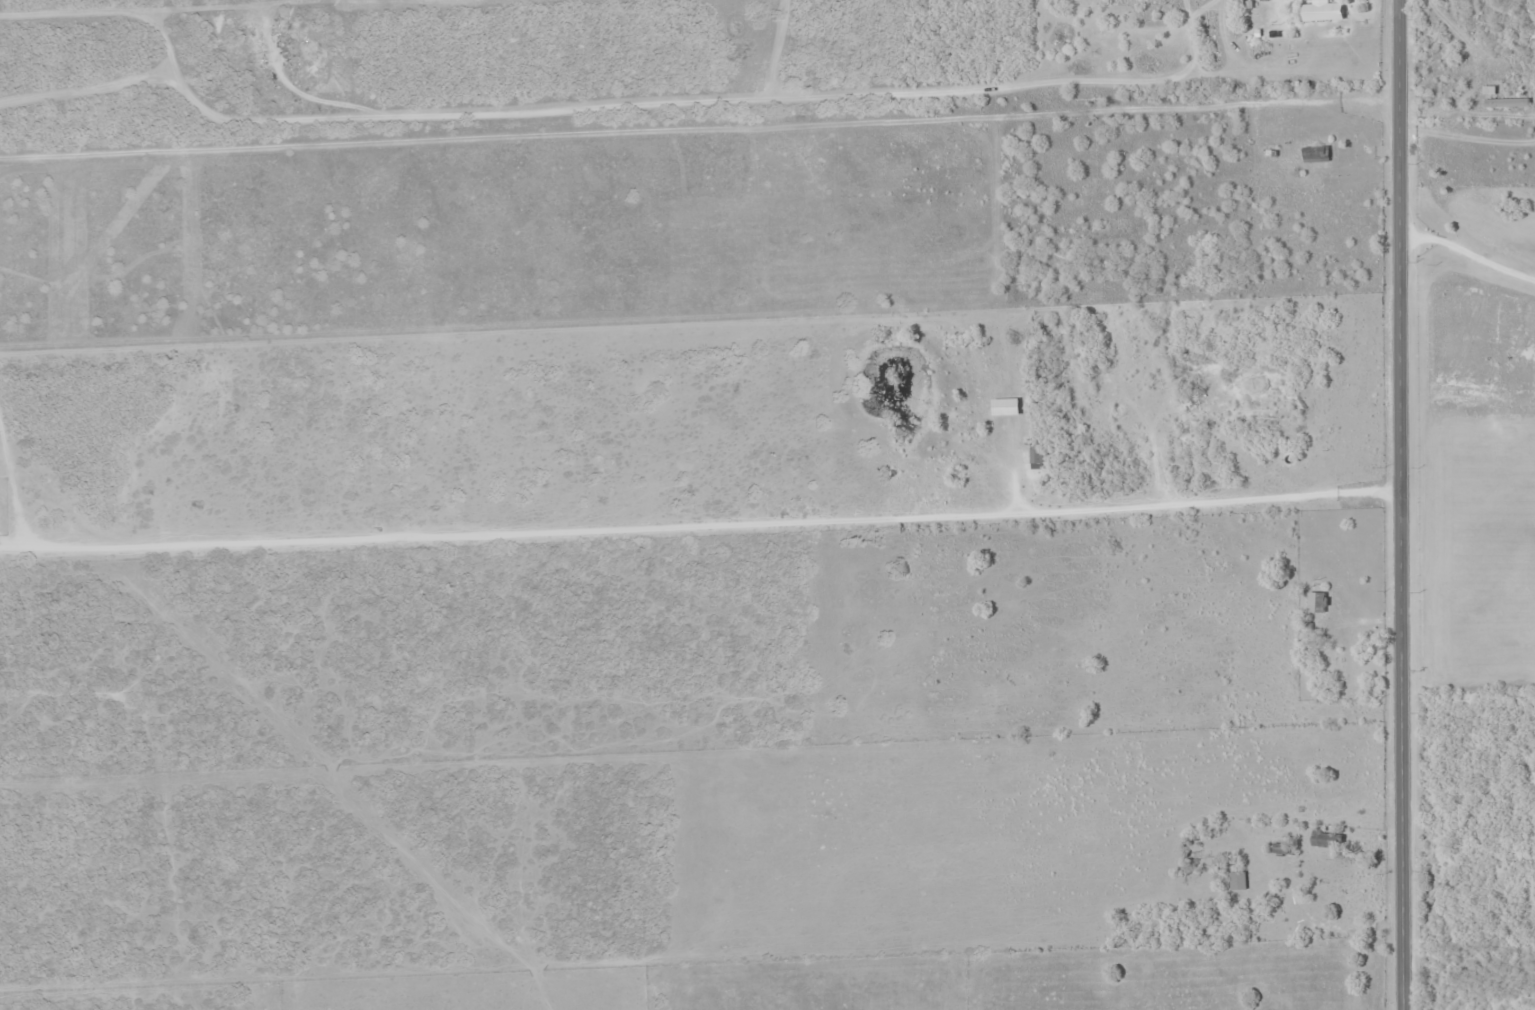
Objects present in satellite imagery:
building: (1324, 10)
building: (1505, 101)
building: (1315, 153)
road: (1402, 505)
building: (1317, 601)
building: (1337, 667)
building: (1324, 836)
building: (1237, 879)

